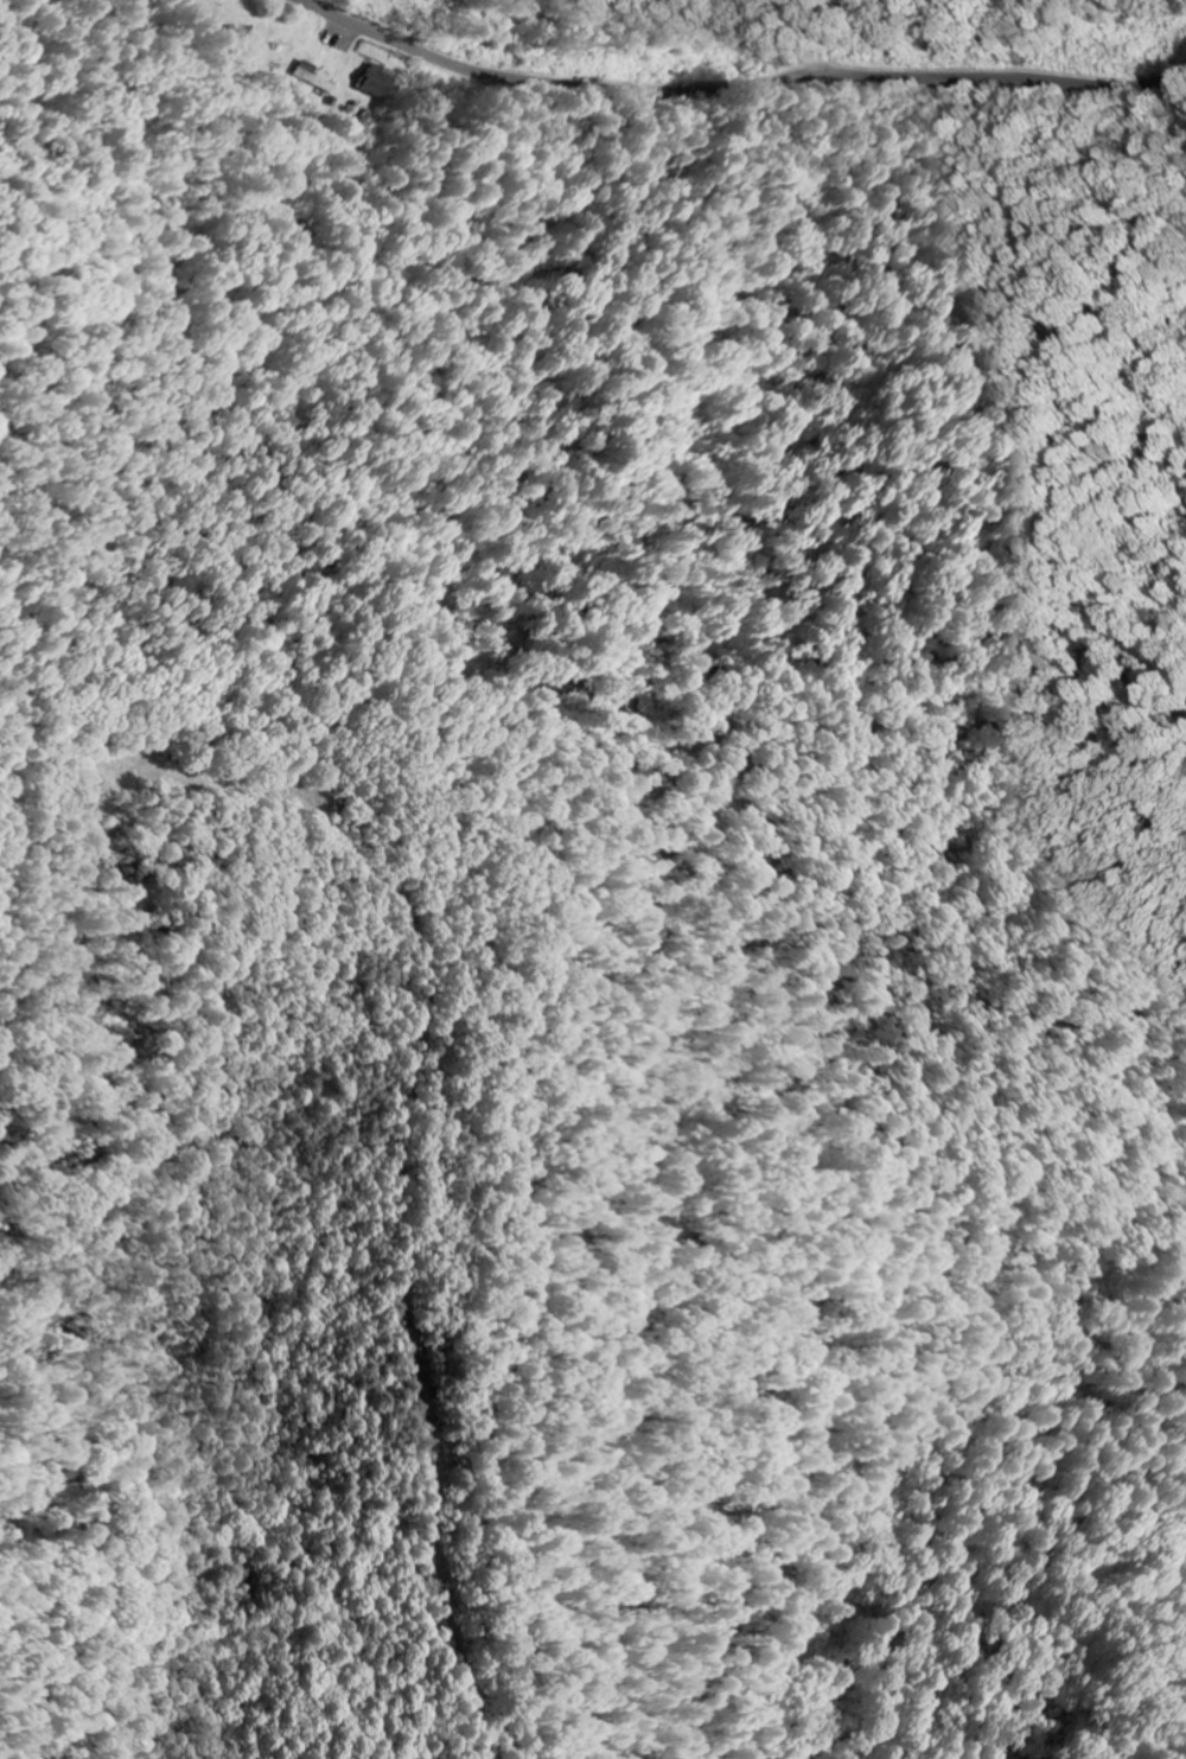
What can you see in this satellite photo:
road: (740, 88)

